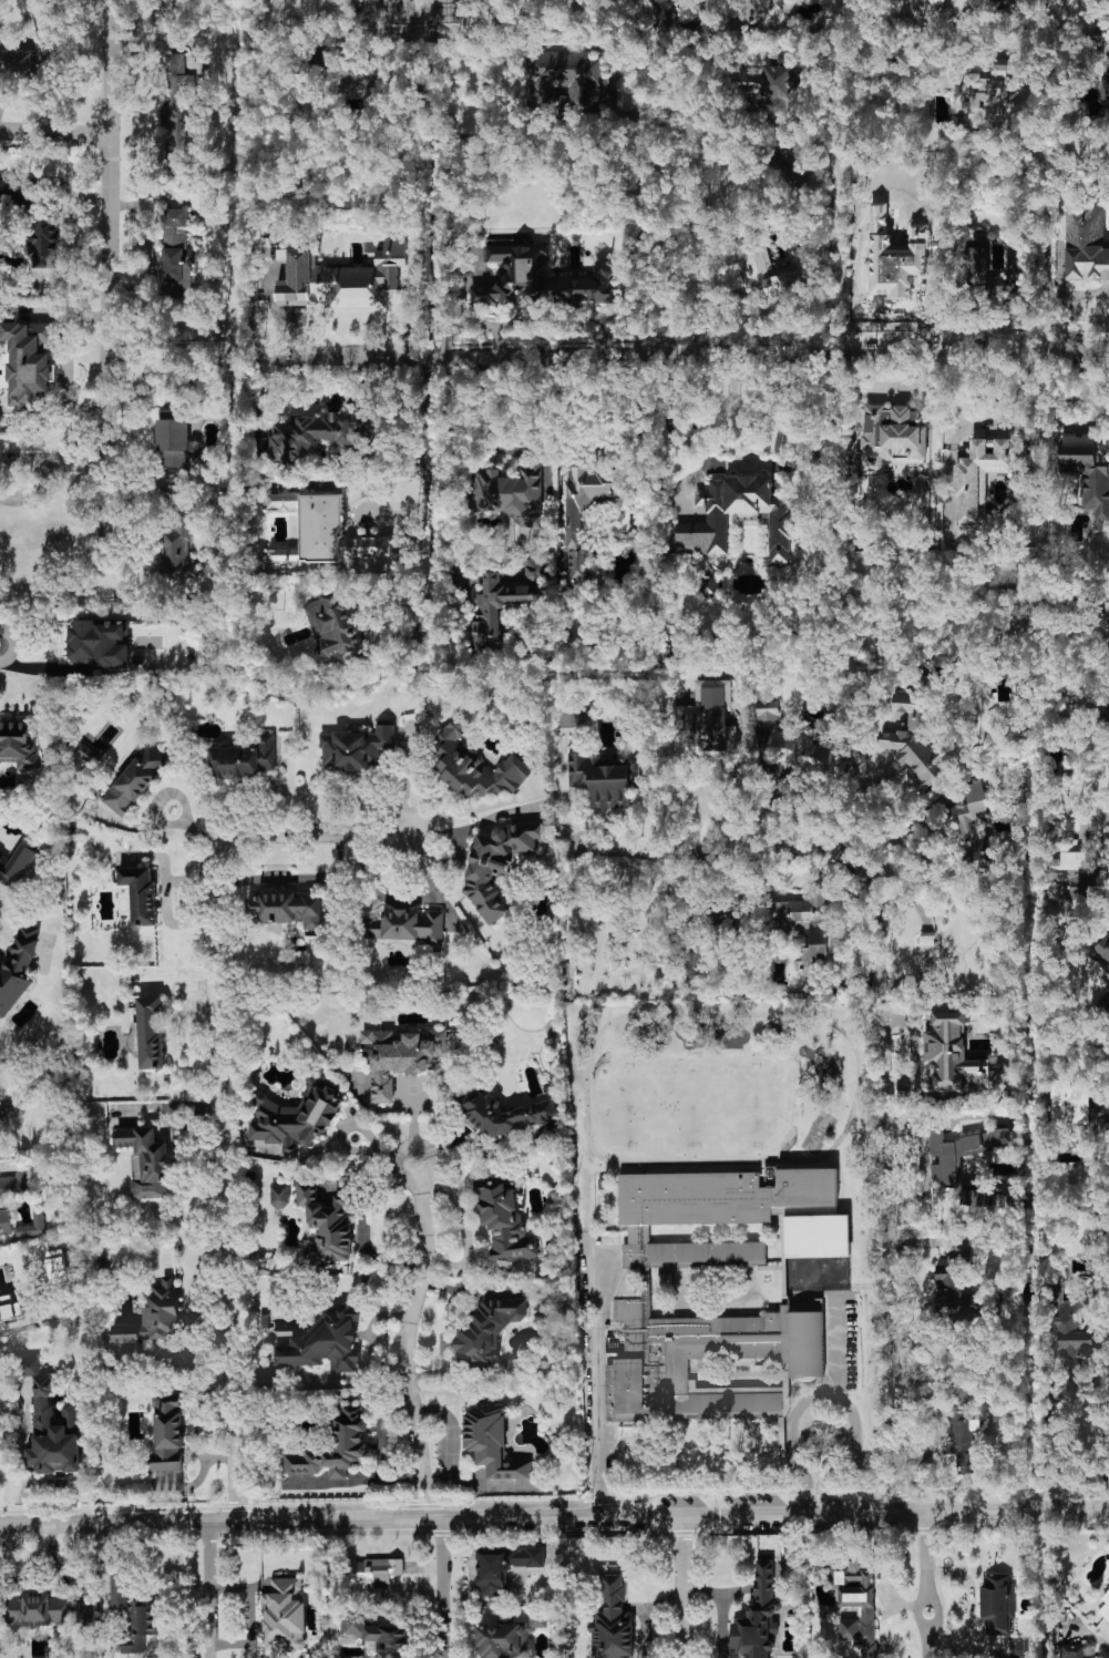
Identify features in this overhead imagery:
building: (653, 0)
building: (1009, 2)
building: (928, 3)
road: (348, 13)
building: (25, 59)
building: (317, 70)
building: (568, 78)
building: (1106, 79)
building: (360, 80)
building: (774, 89)
building: (989, 95)
building: (176, 109)
road: (55, 129)
building: (28, 195)
road: (643, 203)
road: (1047, 231)
building: (43, 238)
building: (1086, 244)
building: (176, 256)
building: (892, 259)
building: (987, 267)
road: (112, 269)
building: (339, 276)
building: (766, 277)
building: (541, 278)
road: (1069, 300)
road: (686, 352)
road: (188, 360)
building: (28, 361)
building: (892, 434)
building: (308, 436)
building: (173, 441)
road: (54, 457)
road: (757, 465)
road: (448, 468)
building: (984, 471)
building: (1088, 474)
road: (429, 482)
building: (510, 493)
building: (780, 516)
building: (579, 518)
building: (322, 529)
building: (177, 553)
building: (708, 587)
building: (490, 611)
building: (332, 625)
building: (1106, 630)
building: (99, 643)
building: (1105, 706)
building: (707, 720)
building: (794, 736)
building: (916, 741)
building: (18, 744)
building: (356, 748)
building: (85, 751)
building: (243, 760)
building: (475, 765)
building: (136, 779)
building: (603, 779)
building: (967, 806)
road: (470, 811)
road: (1101, 816)
building: (1070, 862)
building: (16, 864)
building: (497, 864)
building: (140, 893)
building: (287, 908)
building: (404, 927)
building: (804, 928)
building: (1101, 953)
building: (692, 962)
building: (17, 970)
building: (151, 1032)
road: (882, 1041)
building: (400, 1056)
building: (955, 1056)
road: (223, 1092)
building: (1066, 1101)
building: (505, 1115)
building: (296, 1117)
building: (958, 1154)
building: (146, 1161)
building: (16, 1186)
building: (280, 1196)
building: (973, 1197)
building: (1005, 1199)
building: (38, 1216)
building: (503, 1218)
building: (6, 1222)
building: (326, 1224)
building: (57, 1266)
building: (630, 1282)
building: (955, 1292)
building: (9, 1308)
building: (154, 1317)
building: (487, 1329)
building: (1074, 1330)
road: (405, 1340)
building: (325, 1342)
road: (835, 1344)
road: (592, 1378)
road: (1084, 1380)
road: (824, 1392)
building: (51, 1425)
building: (167, 1433)
building: (350, 1433)
building: (959, 1440)
building: (492, 1443)
road: (554, 1515)
road: (925, 1555)
road: (40, 1563)
building: (504, 1566)
building: (374, 1572)
road: (682, 1585)
road: (209, 1586)
road: (442, 1586)
road: (926, 1599)
road: (972, 1600)
building: (997, 1603)
building: (1105, 1606)
road: (719, 1608)
building: (48, 1609)
building: (859, 1609)
building: (134, 1615)
building: (285, 1615)
building: (759, 1615)
building: (613, 1621)
building: (376, 1633)
road: (1089, 1633)
building: (512, 1634)
road: (930, 1642)

